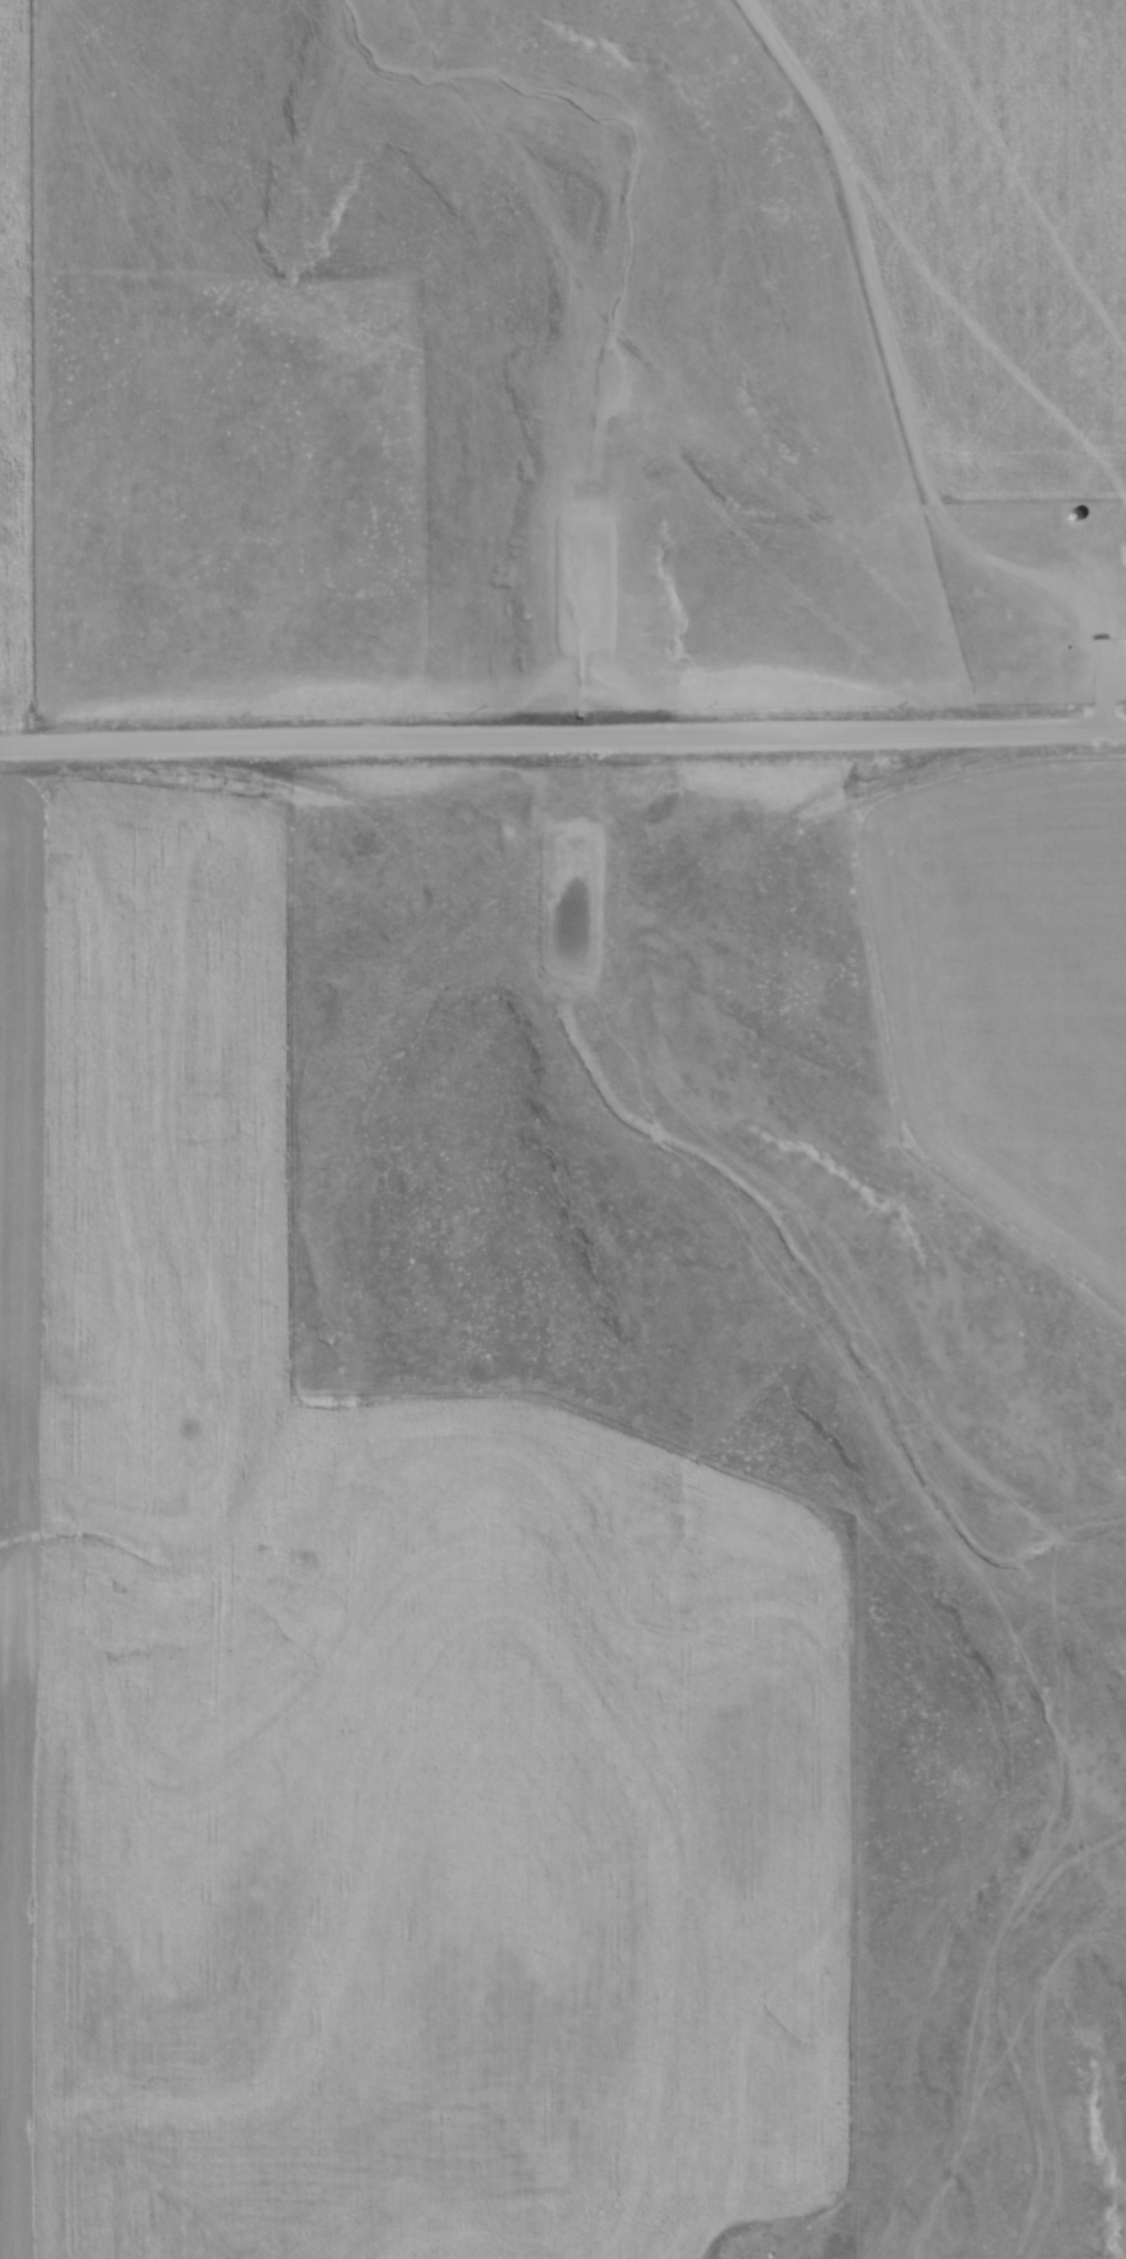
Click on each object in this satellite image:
building: (1074, 514)
road: (562, 739)

